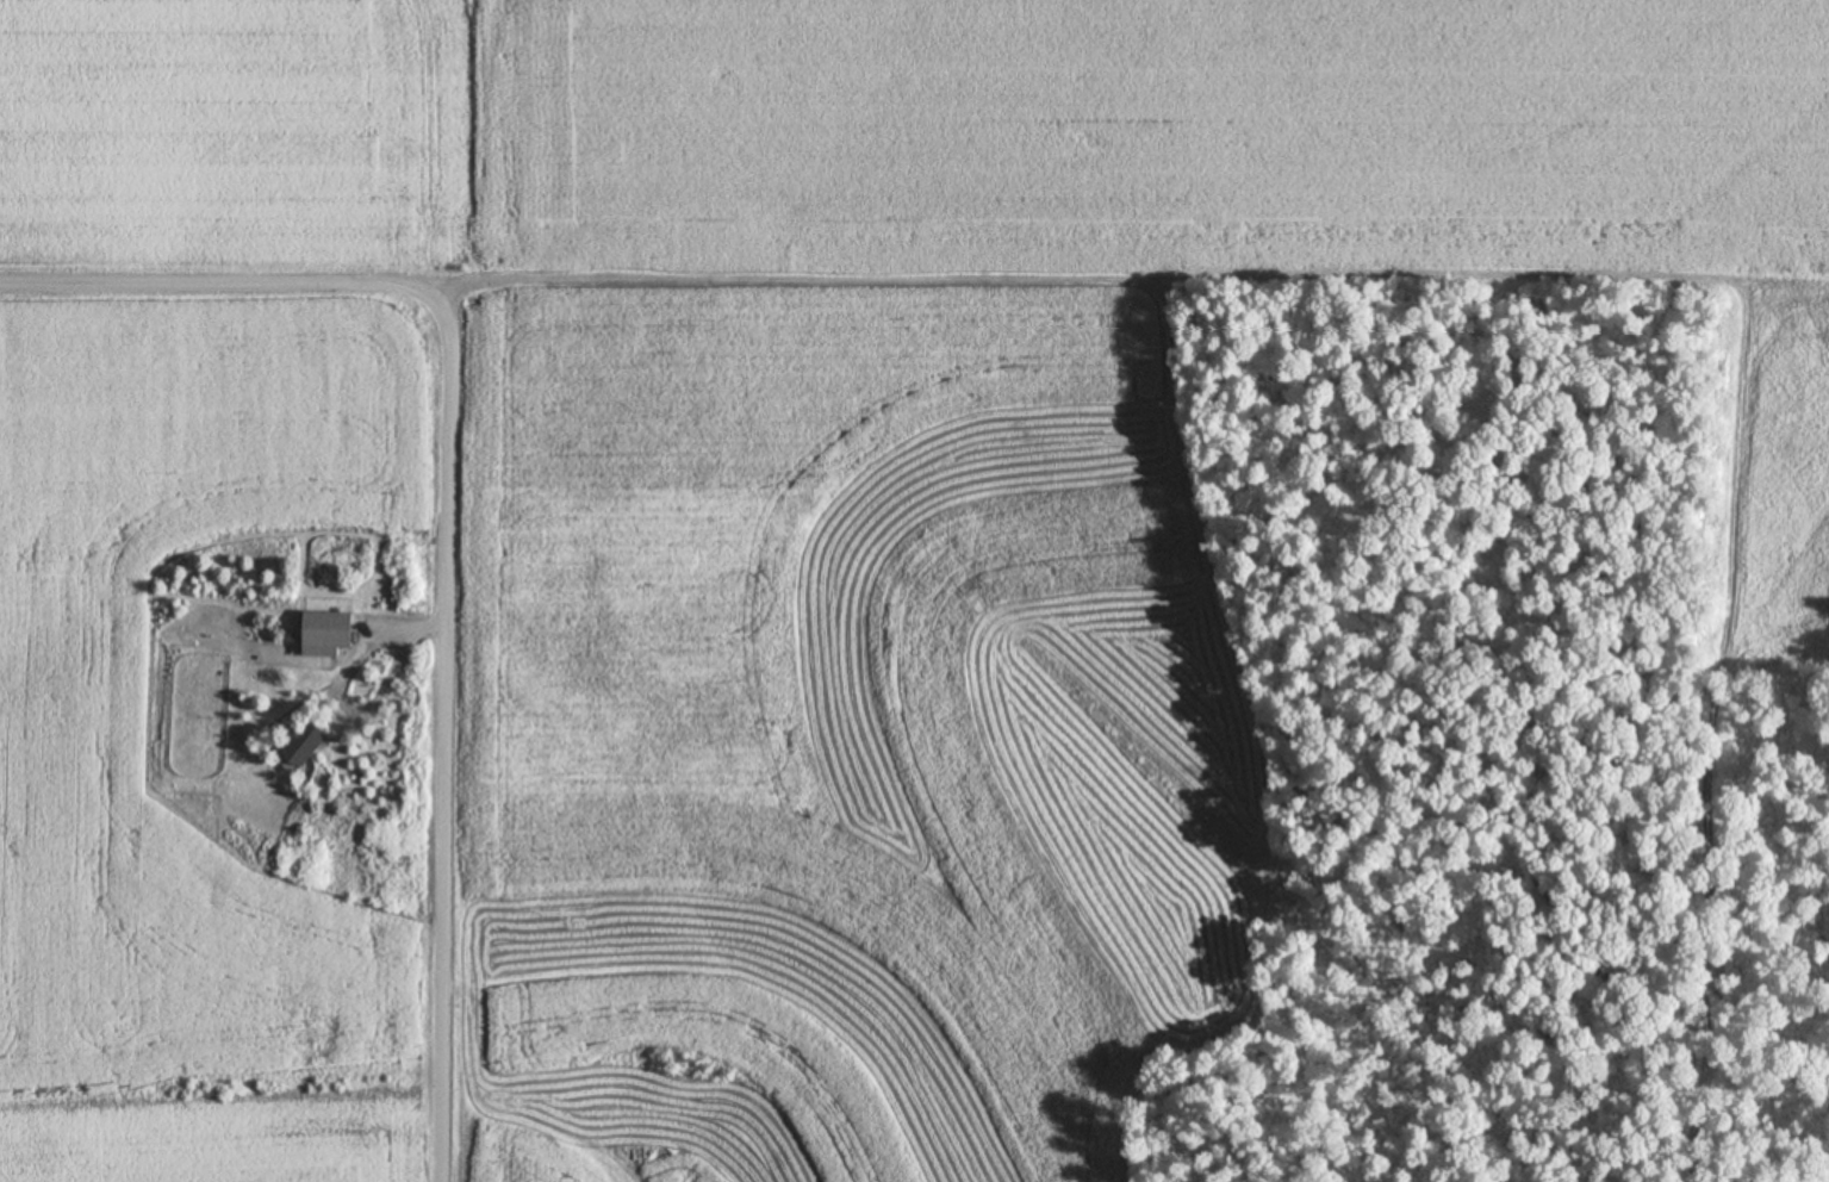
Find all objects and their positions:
road: (222, 285)
building: (330, 632)
road: (450, 735)
building: (306, 740)

